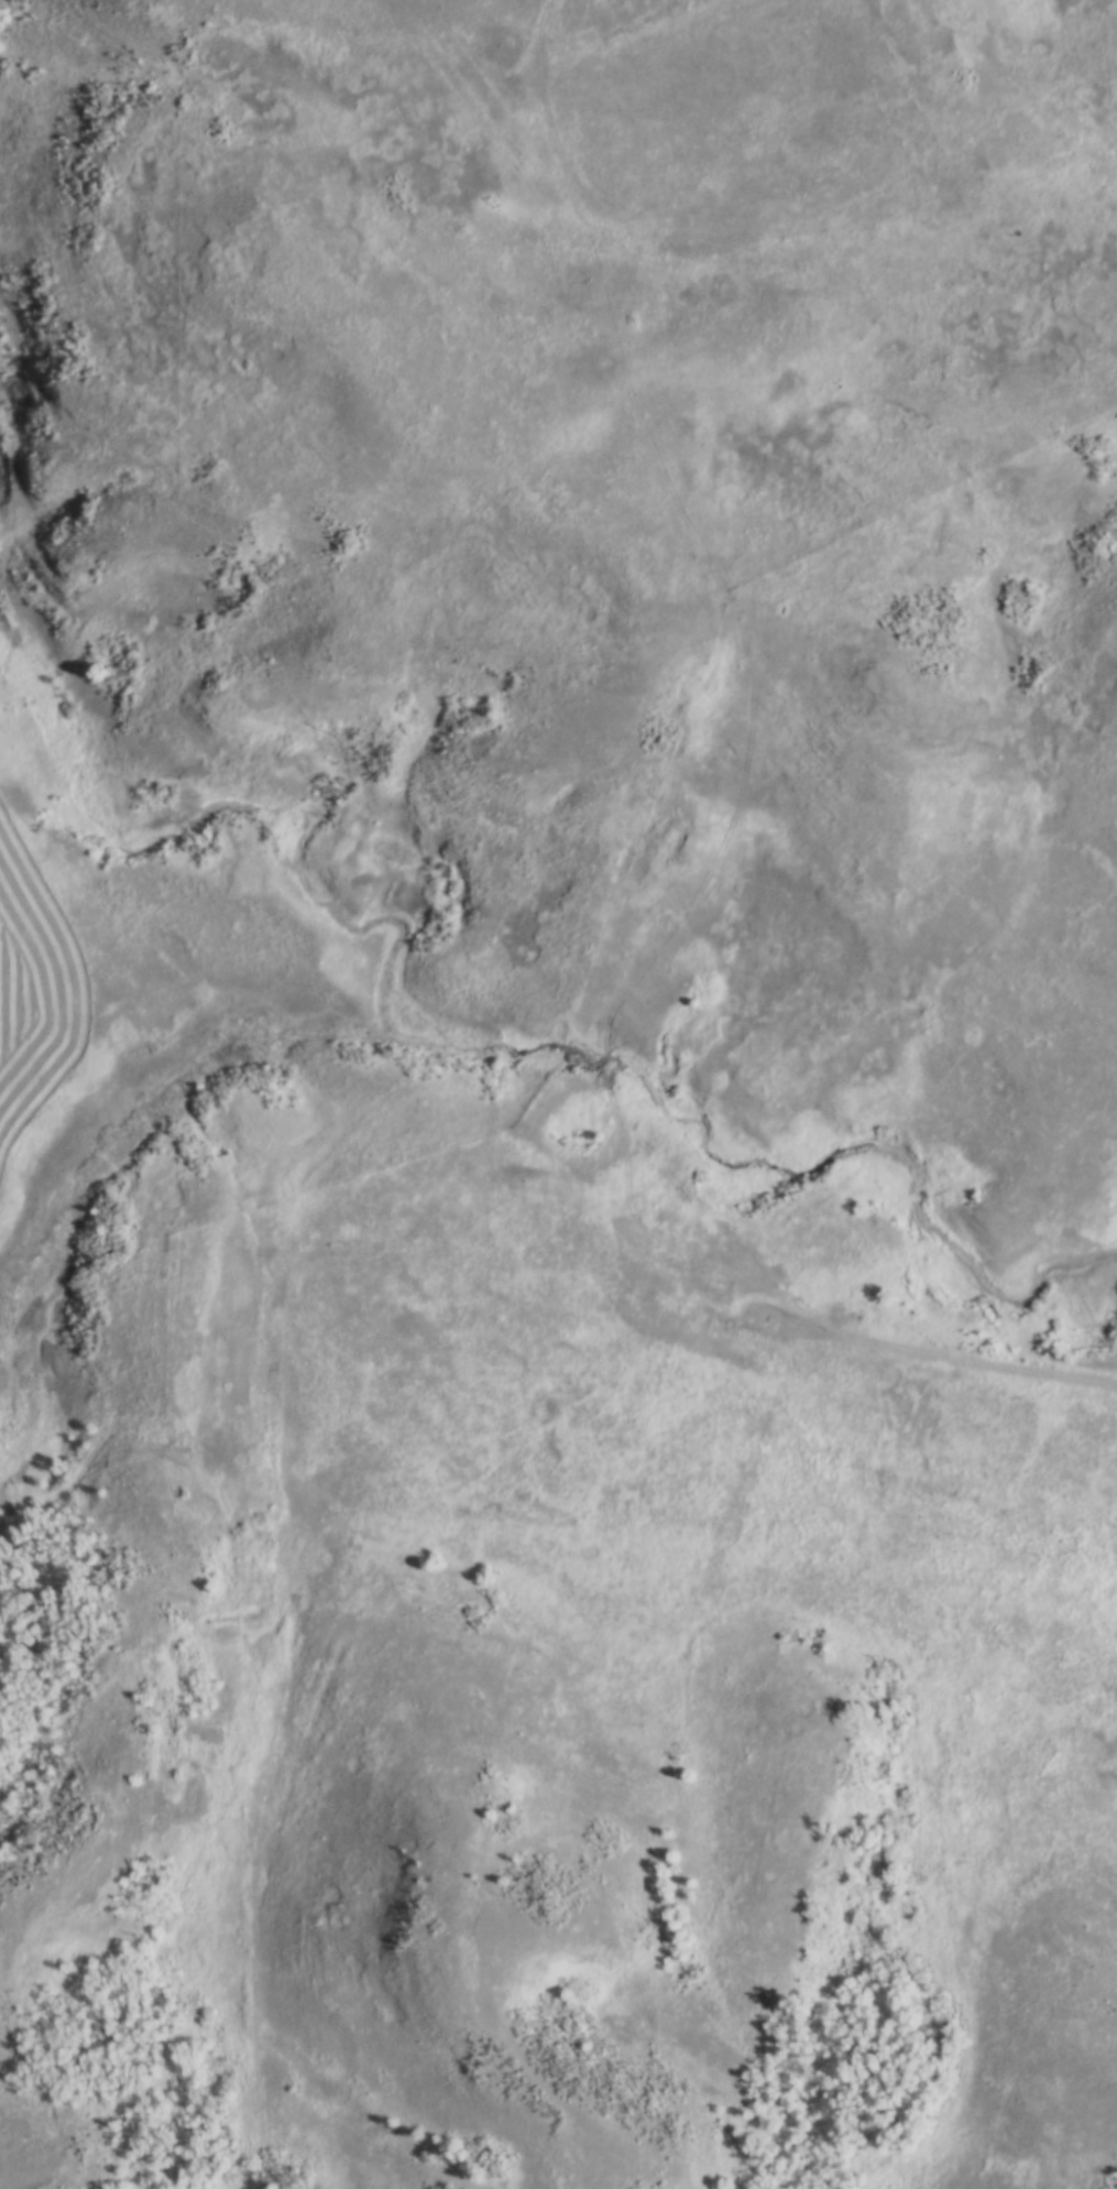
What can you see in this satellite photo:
road: (861, 1418)

